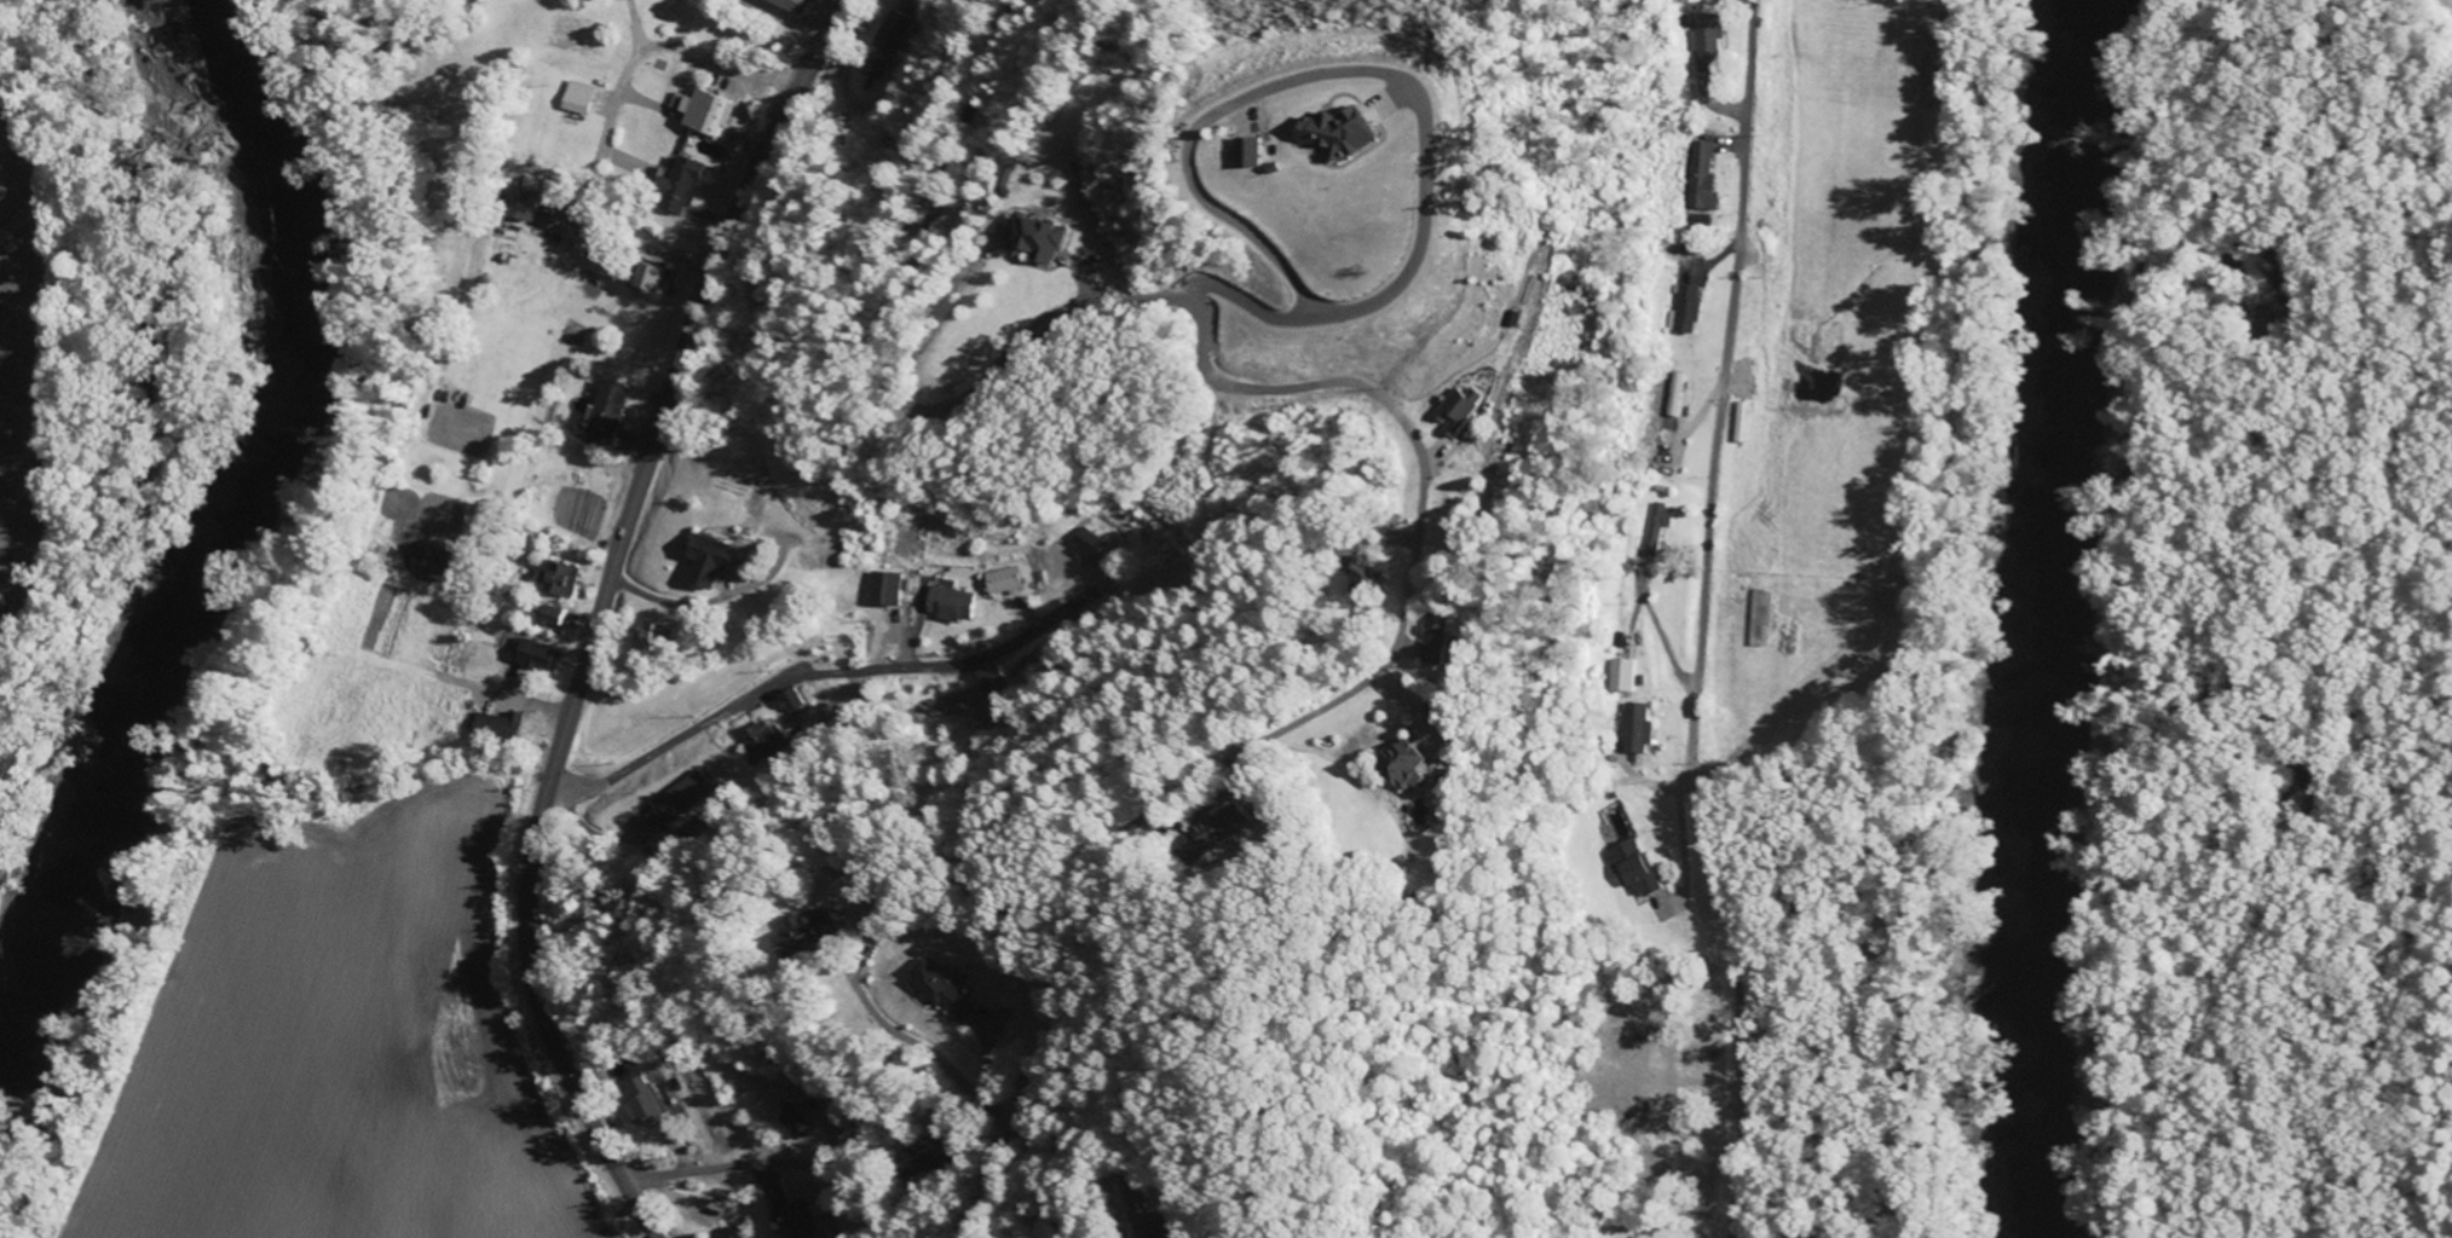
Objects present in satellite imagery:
building: (787, 4)
building: (893, 31)
building: (1706, 41)
building: (872, 65)
building: (584, 98)
building: (706, 110)
building: (1358, 135)
building: (1271, 154)
building: (1704, 177)
building: (685, 186)
building: (1701, 221)
building: (1037, 238)
building: (654, 276)
building: (1687, 308)
road: (1396, 399)
building: (1465, 409)
building: (612, 412)
building: (1658, 525)
building: (1092, 545)
building: (719, 561)
river: (225, 574)
building: (1008, 580)
building: (890, 589)
building: (1890, 594)
building: (954, 602)
building: (560, 617)
road: (599, 617)
building: (1760, 617)
river: (2067, 618)
road: (1701, 620)
building: (1441, 635)
building: (656, 637)
building: (540, 655)
building: (1623, 675)
building: (790, 700)
road: (726, 710)
building: (1637, 728)
building: (501, 729)
building: (760, 736)
building: (1396, 762)
building: (682, 797)
building: (1210, 832)
building: (1631, 867)
building: (815, 930)
building: (950, 990)
road: (934, 1047)
building: (650, 1101)
building: (803, 1123)
road: (831, 1161)
road: (660, 1168)
building: (797, 1220)
building: (731, 1233)

